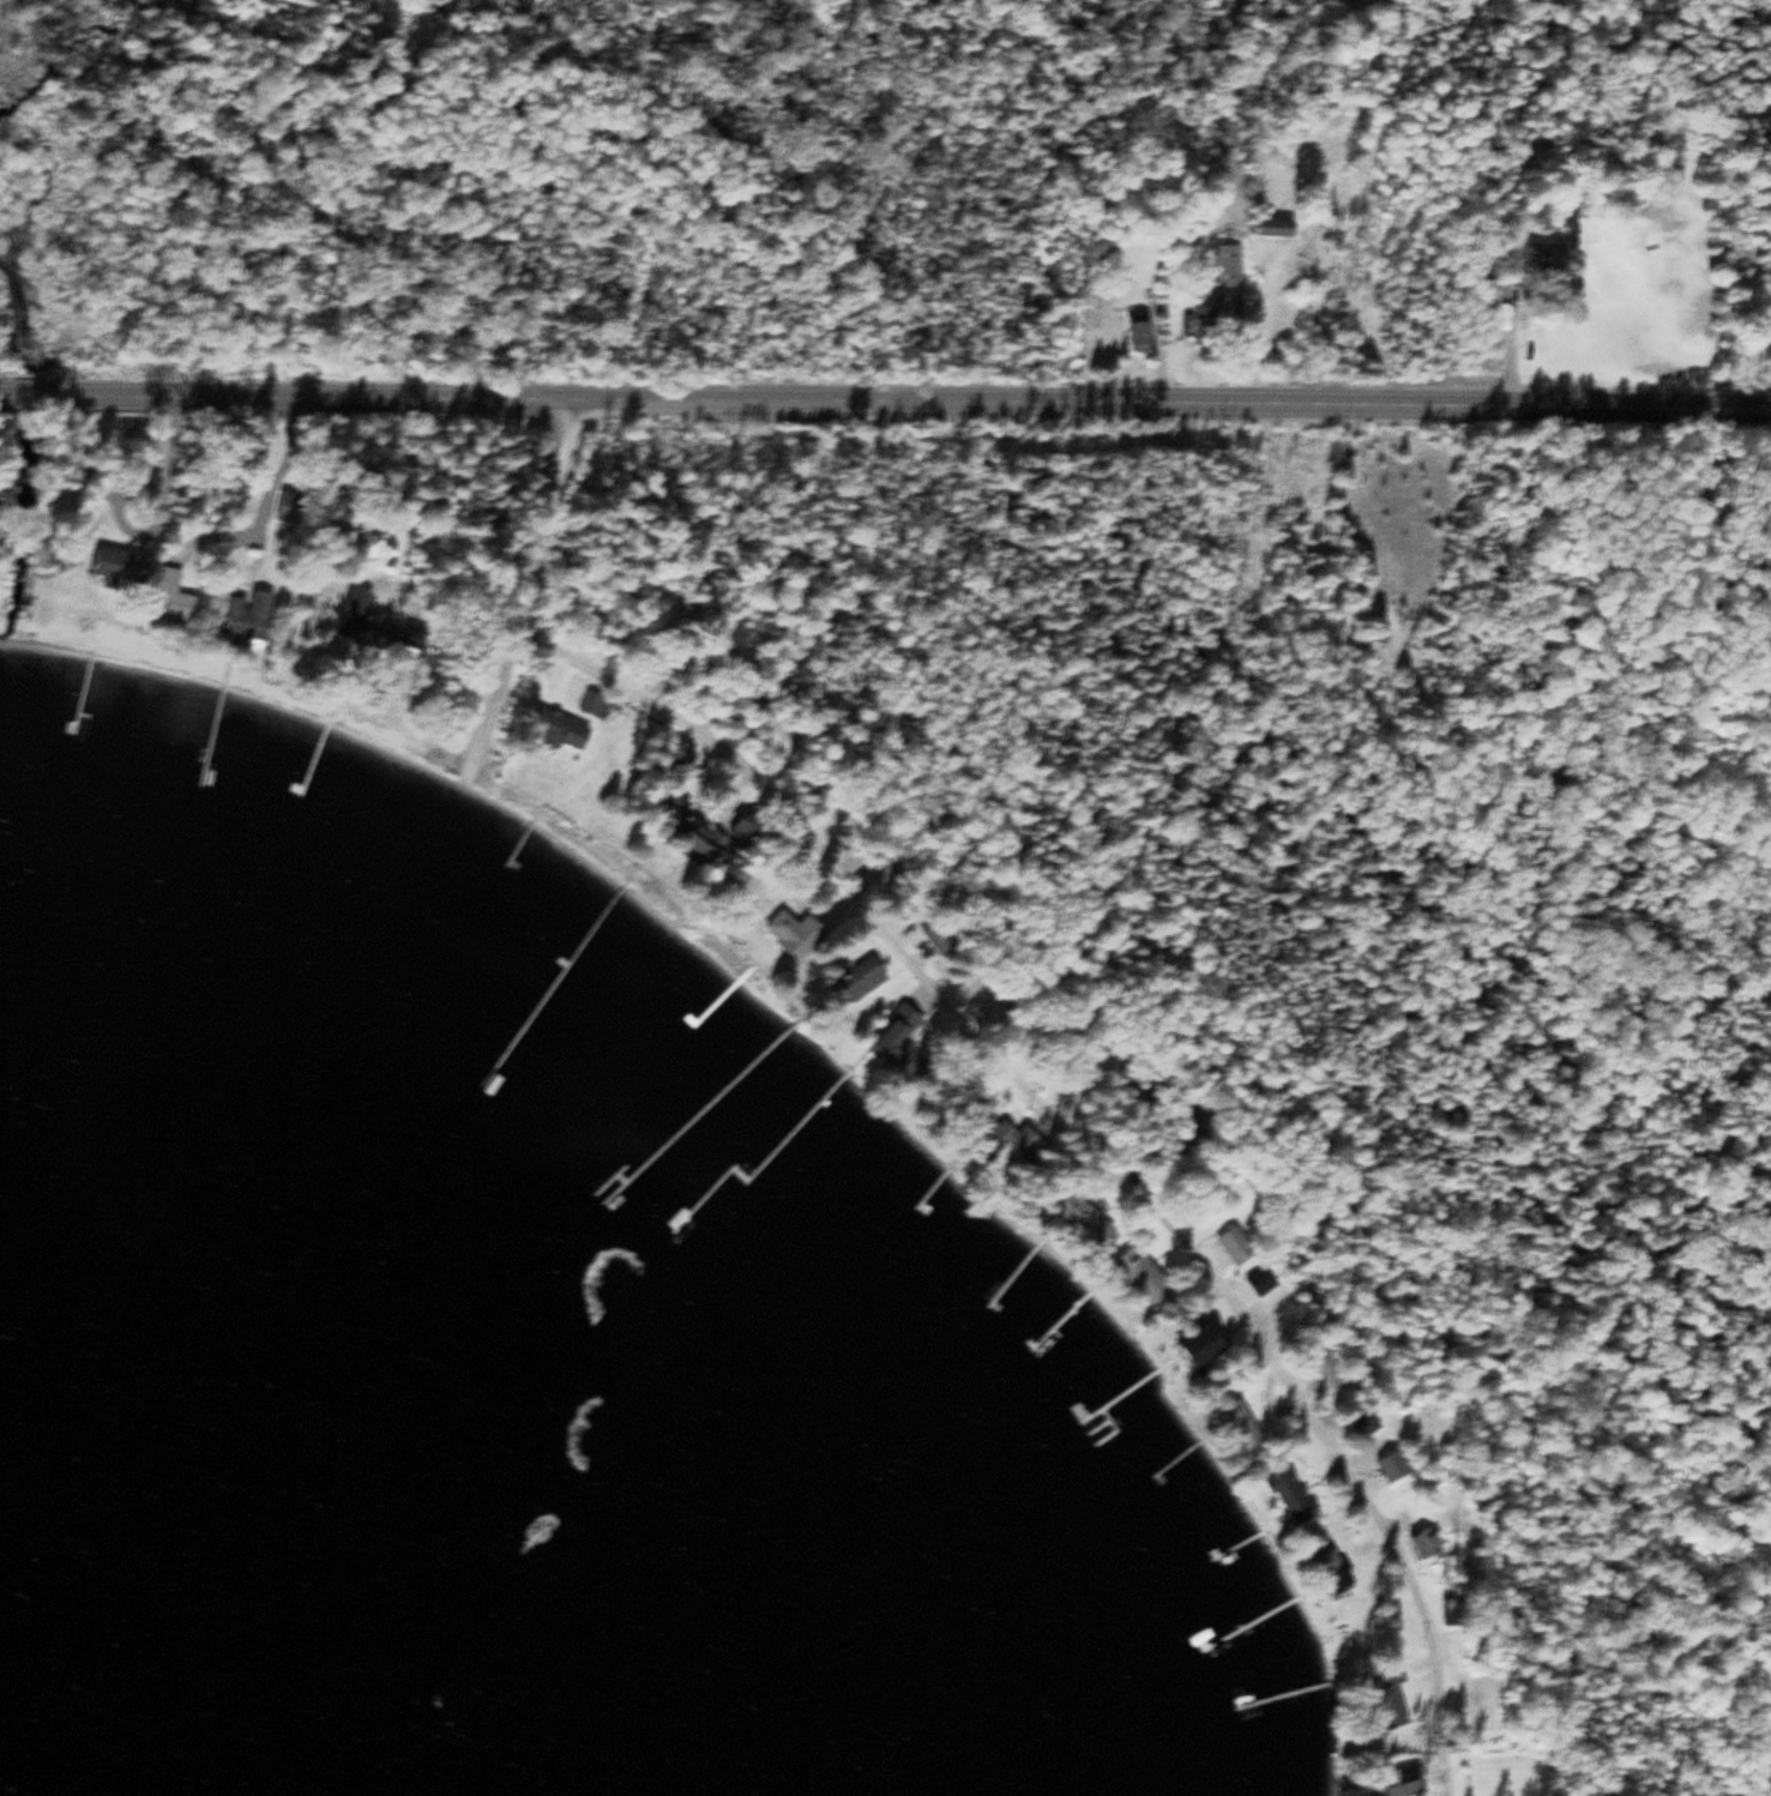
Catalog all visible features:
building: (1272, 228)
building: (1544, 258)
building: (1225, 265)
building: (1200, 329)
building: (1138, 336)
road: (158, 394)
road: (1043, 403)
road: (559, 429)
road: (278, 463)
building: (137, 465)
road: (534, 543)
building: (121, 565)
building: (170, 597)
building: (675, 615)
building: (246, 620)
building: (373, 623)
road: (469, 656)
road: (494, 691)
building: (592, 704)
building: (556, 727)
building: (692, 833)
building: (885, 873)
building: (793, 930)
building: (938, 936)
building: (860, 978)
building: (900, 1038)
building: (1005, 1133)
building: (1198, 1134)
road: (1079, 1140)
building: (1082, 1218)
building: (1234, 1246)
building: (1141, 1276)
building: (1203, 1343)
building: (1230, 1420)
building: (1363, 1421)
building: (1386, 1461)
building: (1284, 1488)
building: (1426, 1543)
building: (1332, 1572)
building: (1400, 1784)

